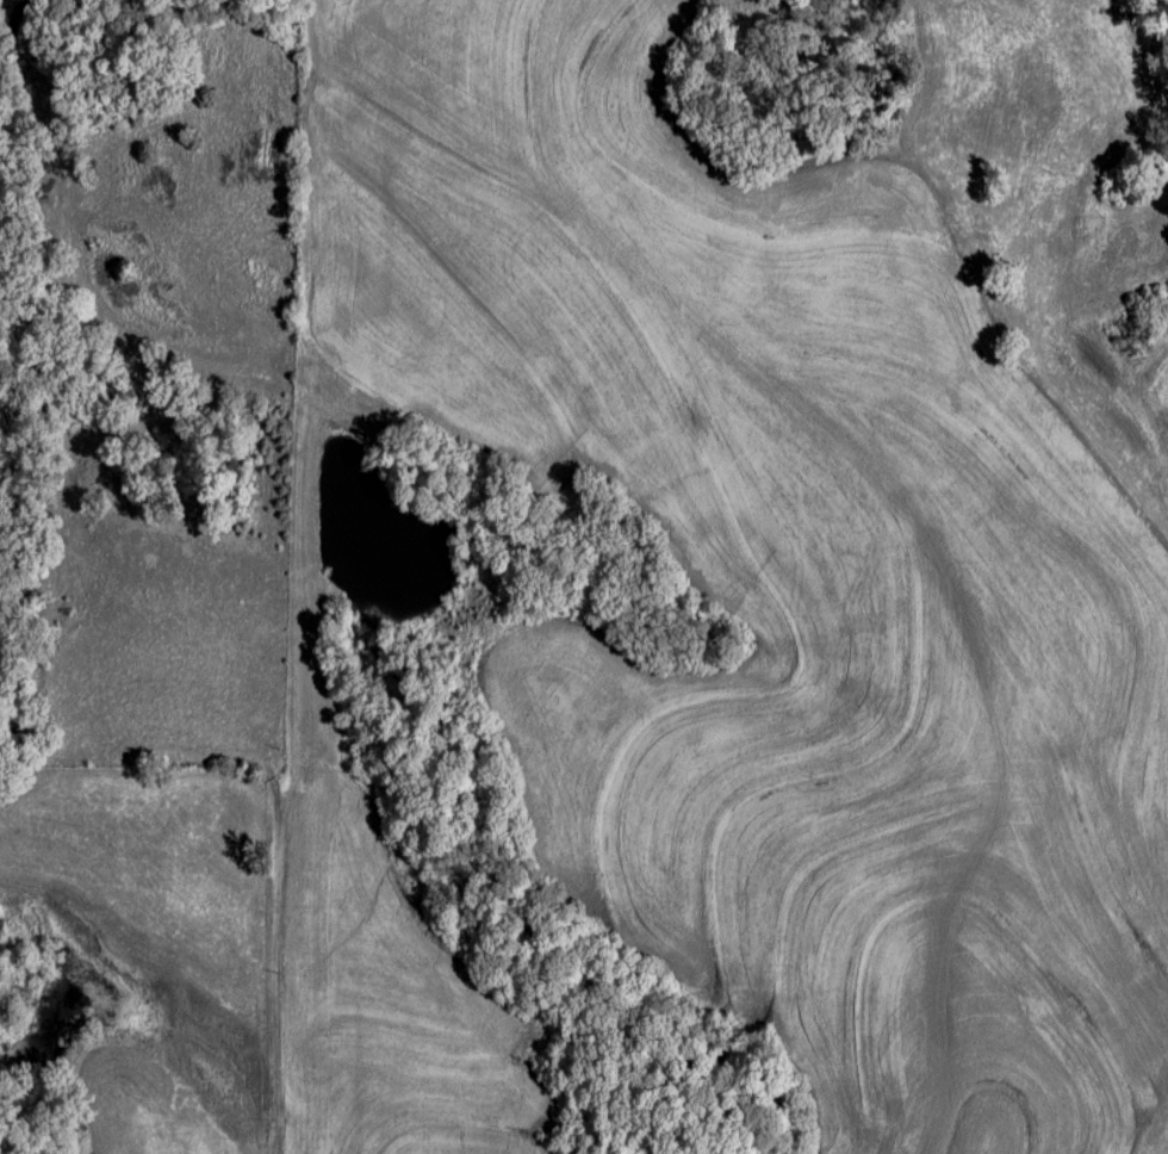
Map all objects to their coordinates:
road: (1, 566)
road: (255, 851)

